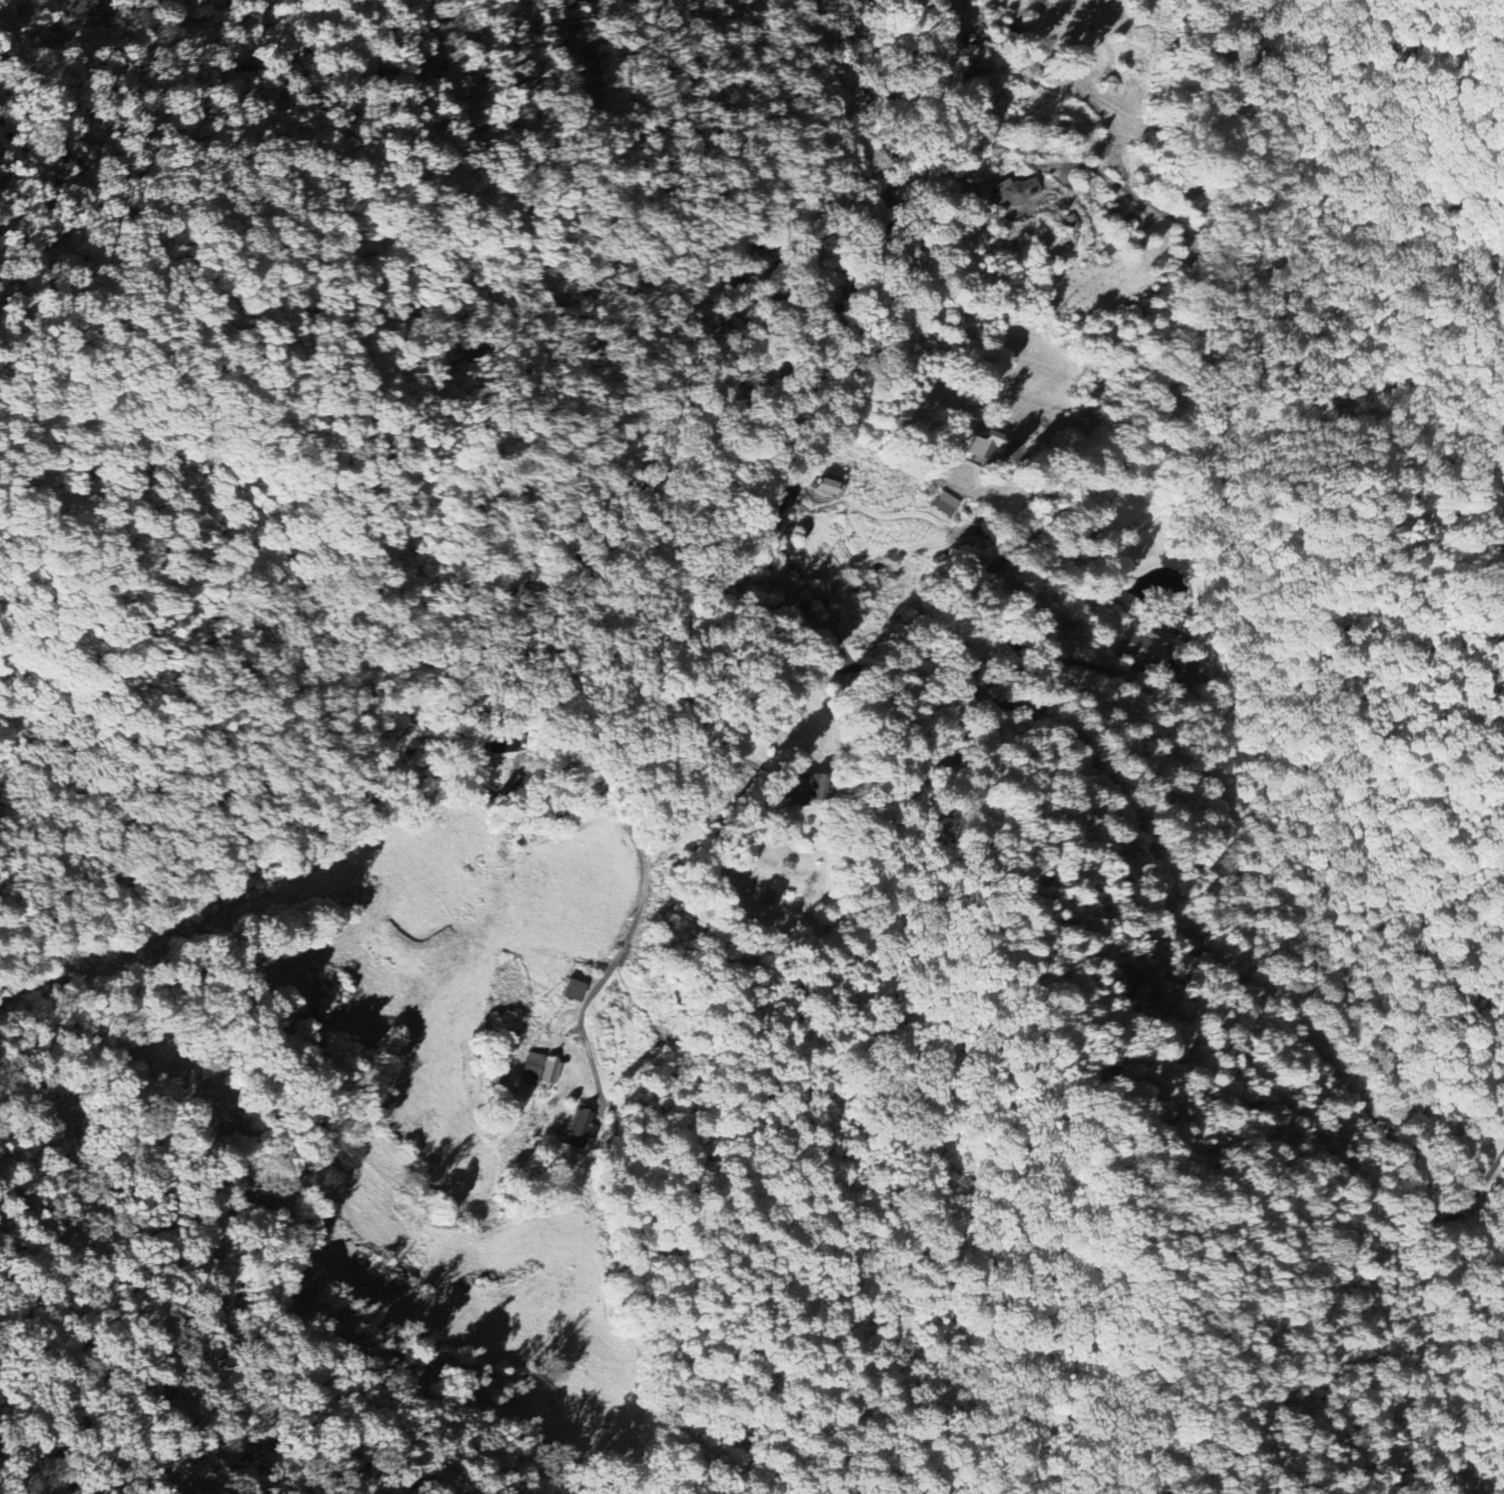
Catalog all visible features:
road: (1141, 197)
building: (1114, 208)
building: (1071, 221)
building: (985, 443)
building: (827, 487)
road: (1073, 488)
building: (944, 503)
road: (804, 583)
building: (801, 615)
road: (1192, 646)
building: (1142, 649)
road: (560, 816)
road: (1188, 930)
road: (627, 933)
building: (570, 989)
building: (530, 1068)
building: (552, 1070)
building: (579, 1121)
road: (1484, 1183)
road: (1450, 1213)

